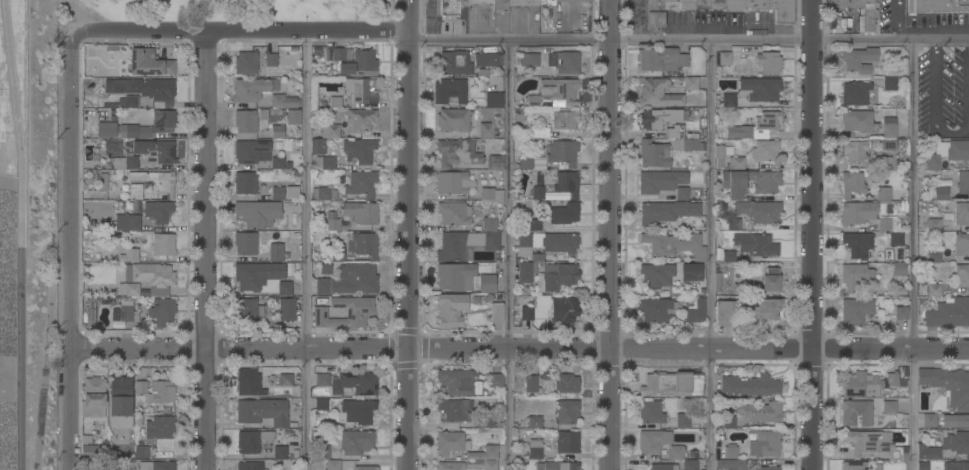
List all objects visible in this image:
building: (572, 0)
building: (523, 2)
building: (546, 2)
building: (500, 4)
building: (672, 4)
building: (688, 4)
building: (703, 4)
building: (718, 4)
building: (734, 4)
building: (759, 4)
building: (849, 6)
building: (938, 6)
building: (457, 7)
building: (783, 11)
building: (654, 12)
building: (869, 14)
road: (407, 16)
road: (895, 20)
road: (239, 32)
road: (688, 40)
building: (341, 54)
building: (723, 58)
building: (271, 59)
building: (486, 59)
building: (529, 59)
building: (661, 59)
building: (859, 59)
building: (567, 62)
building: (769, 62)
building: (149, 63)
building: (246, 63)
building: (360, 63)
building: (454, 63)
building: (691, 83)
building: (889, 83)
building: (144, 88)
building: (250, 89)
building: (360, 90)
building: (558, 90)
building: (753, 90)
building: (450, 91)
building: (658, 93)
building: (855, 93)
building: (493, 99)
building: (131, 101)
building: (283, 101)
building: (533, 101)
building: (335, 102)
road: (934, 105)
building: (518, 114)
building: (293, 116)
building: (661, 117)
building: (359, 119)
building: (245, 120)
building: (453, 120)
building: (564, 120)
building: (163, 121)
building: (856, 121)
building: (756, 126)
building: (889, 127)
building: (122, 130)
building: (486, 130)
building: (277, 131)
building: (330, 131)
building: (538, 132)
building: (675, 136)
building: (317, 145)
building: (889, 145)
building: (249, 150)
building: (359, 150)
building: (765, 150)
building: (854, 150)
building: (155, 151)
building: (459, 152)
building: (561, 152)
building: (947, 152)
building: (654, 153)
building: (719, 155)
building: (131, 162)
building: (277, 162)
building: (321, 162)
building: (495, 162)
building: (526, 162)
building: (888, 162)
building: (735, 163)
building: (103, 181)
building: (156, 181)
building: (660, 181)
building: (453, 182)
building: (962, 182)
building: (245, 183)
building: (567, 183)
building: (851, 183)
building: (361, 184)
building: (766, 185)
building: (136, 191)
building: (292, 191)
building: (538, 192)
building: (277, 193)
building: (323, 193)
building: (490, 193)
building: (682, 193)
building: (883, 193)
building: (941, 193)
building: (158, 211)
building: (666, 211)
building: (759, 211)
building: (360, 212)
building: (257, 213)
building: (454, 213)
building: (564, 213)
building: (962, 213)
building: (862, 214)
building: (127, 222)
building: (333, 224)
building: (489, 224)
building: (534, 224)
building: (733, 224)
building: (933, 224)
road: (24, 234)
road: (612, 234)
road: (814, 234)
building: (896, 239)
building: (491, 240)
building: (248, 243)
building: (545, 243)
building: (163, 244)
building: (363, 244)
building: (674, 244)
building: (856, 244)
building: (962, 244)
building: (456, 245)
building: (755, 245)
road: (409, 250)
road: (71, 251)
road: (204, 251)
road: (306, 251)
building: (276, 252)
building: (336, 252)
building: (128, 255)
road: (508, 255)
road: (712, 255)
road: (913, 255)
building: (728, 256)
building: (933, 256)
building: (325, 268)
building: (898, 268)
building: (526, 271)
building: (695, 274)
building: (961, 275)
building: (557, 276)
building: (854, 276)
building: (151, 277)
building: (262, 277)
building: (457, 277)
building: (660, 277)
building: (350, 280)
building: (771, 280)
building: (487, 283)
building: (129, 289)
building: (934, 289)
building: (283, 308)
building: (564, 308)
building: (766, 308)
building: (245, 309)
building: (451, 309)
building: (658, 309)
building: (124, 311)
building: (360, 311)
building: (696, 311)
building: (855, 311)
building: (161, 312)
building: (497, 312)
building: (526, 313)
building: (725, 313)
building: (901, 313)
building: (949, 313)
building: (90, 314)
road: (520, 349)
road: (48, 365)
building: (281, 379)
building: (496, 379)
building: (322, 380)
building: (249, 382)
building: (459, 382)
building: (355, 383)
building: (531, 383)
building: (567, 383)
building: (672, 384)
building: (868, 385)
building: (948, 385)
building: (749, 386)
building: (141, 387)
building: (161, 392)
building: (94, 397)
building: (121, 402)
building: (321, 404)
building: (889, 407)
building: (456, 409)
building: (358, 410)
building: (263, 411)
building: (567, 411)
building: (650, 412)
building: (761, 412)
building: (855, 413)
building: (682, 420)
building: (929, 420)
building: (486, 421)
building: (955, 421)
building: (535, 422)
building: (729, 422)
building: (161, 431)
building: (252, 440)
building: (354, 441)
building: (653, 441)
building: (567, 442)
building: (450, 443)
building: (765, 444)
building: (873, 444)
building: (945, 446)
building: (535, 449)
building: (730, 451)
building: (90, 452)
building: (141, 452)
building: (320, 452)
building: (676, 452)
building: (281, 453)
building: (484, 453)
building: (473, 464)
building: (490, 464)
building: (690, 464)
building: (731, 464)
building: (156, 465)
building: (333, 465)
building: (853, 465)
building: (249, 466)
building: (450, 466)
building: (557, 466)
building: (923, 466)
building: (956, 466)
building: (663, 467)
building: (365, 468)
building: (769, 468)

